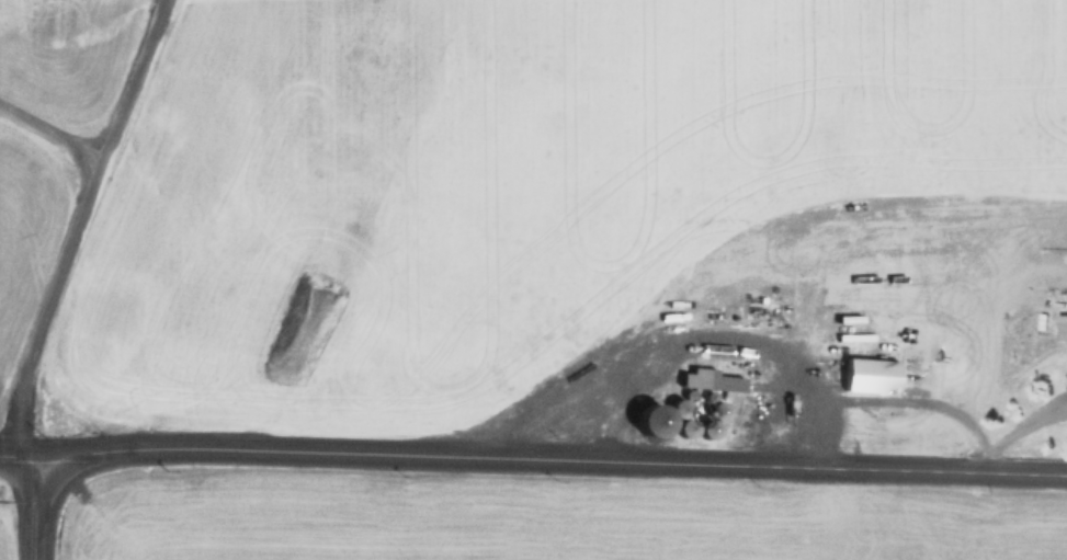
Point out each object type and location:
road: (48, 121)
road: (68, 219)
building: (1063, 328)
building: (873, 375)
building: (706, 379)
road: (533, 446)
road: (36, 503)

